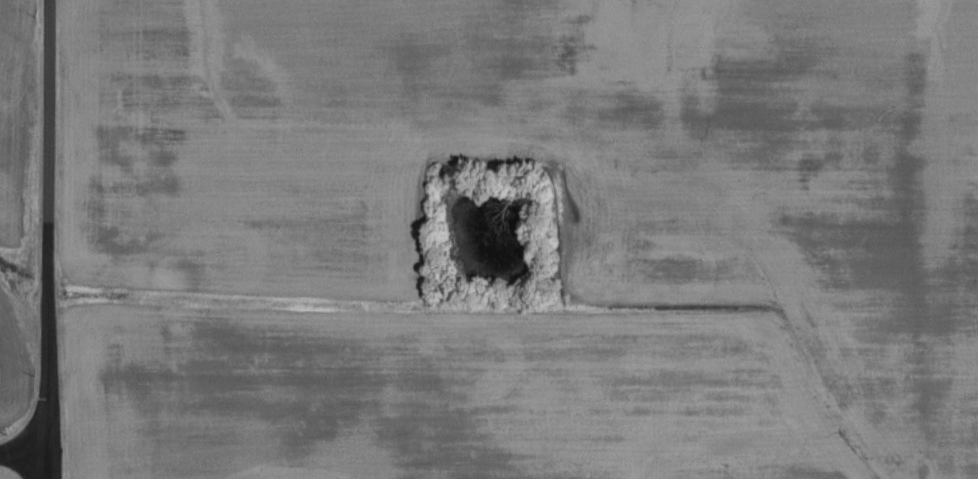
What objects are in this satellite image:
road: (47, 254)
road: (44, 471)

